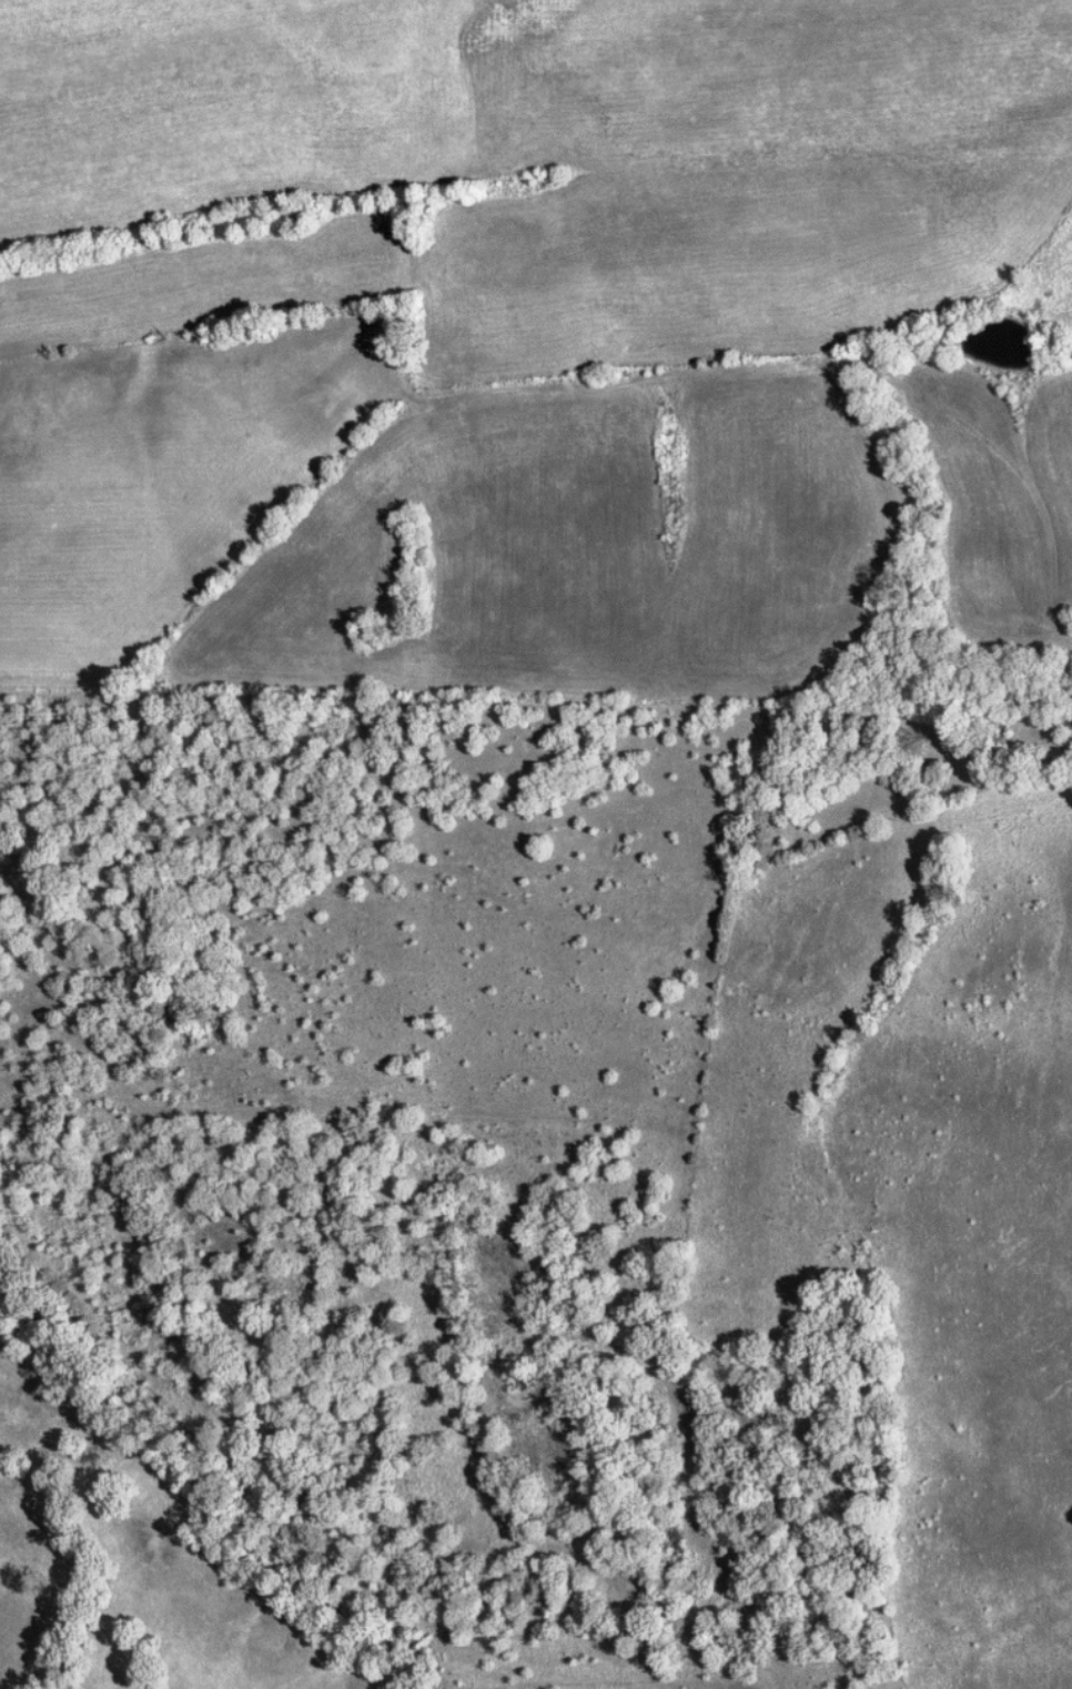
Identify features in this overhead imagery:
road: (822, 360)

